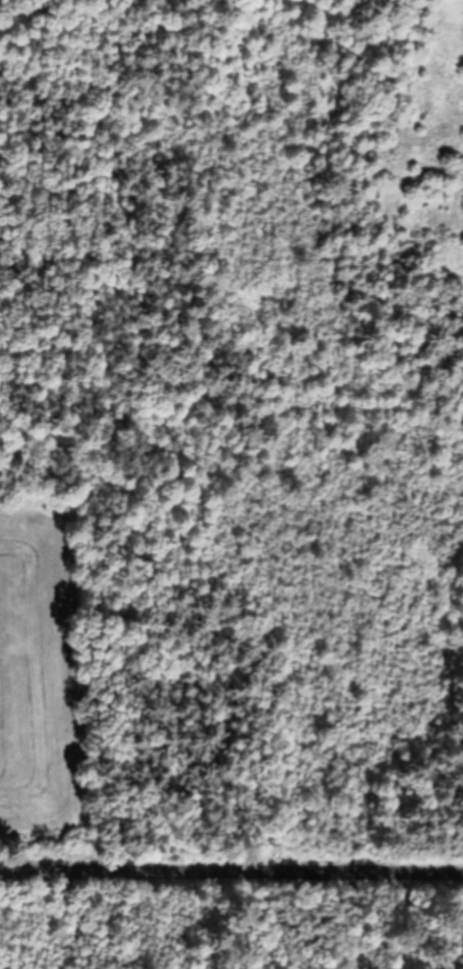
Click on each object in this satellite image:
road: (231, 876)

